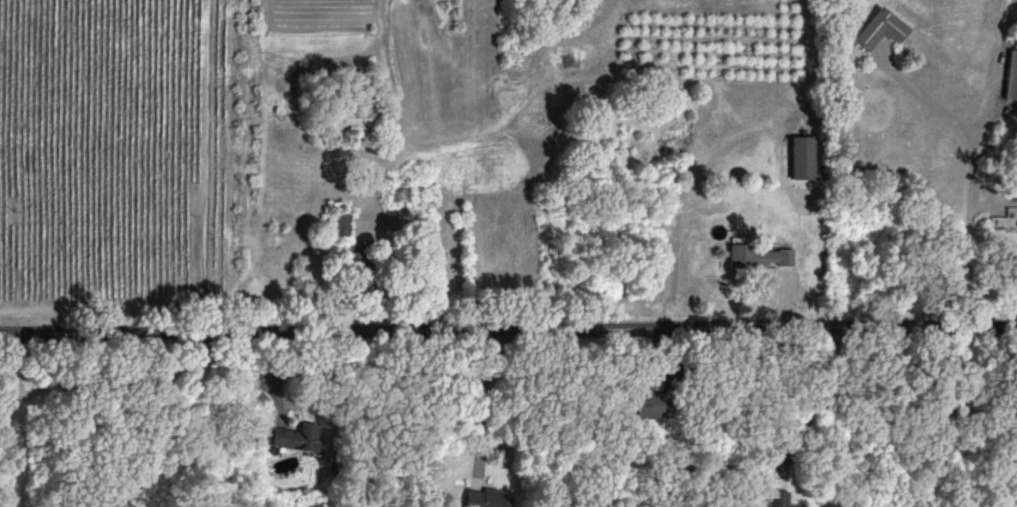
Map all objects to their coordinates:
building: (882, 27)
building: (1012, 74)
road: (920, 93)
building: (802, 160)
road: (968, 192)
building: (341, 222)
building: (757, 254)
road: (400, 262)
building: (357, 265)
building: (1015, 265)
road: (508, 328)
road: (479, 402)
building: (653, 403)
road: (811, 406)
road: (173, 424)
building: (294, 435)
building: (487, 498)
building: (778, 498)

